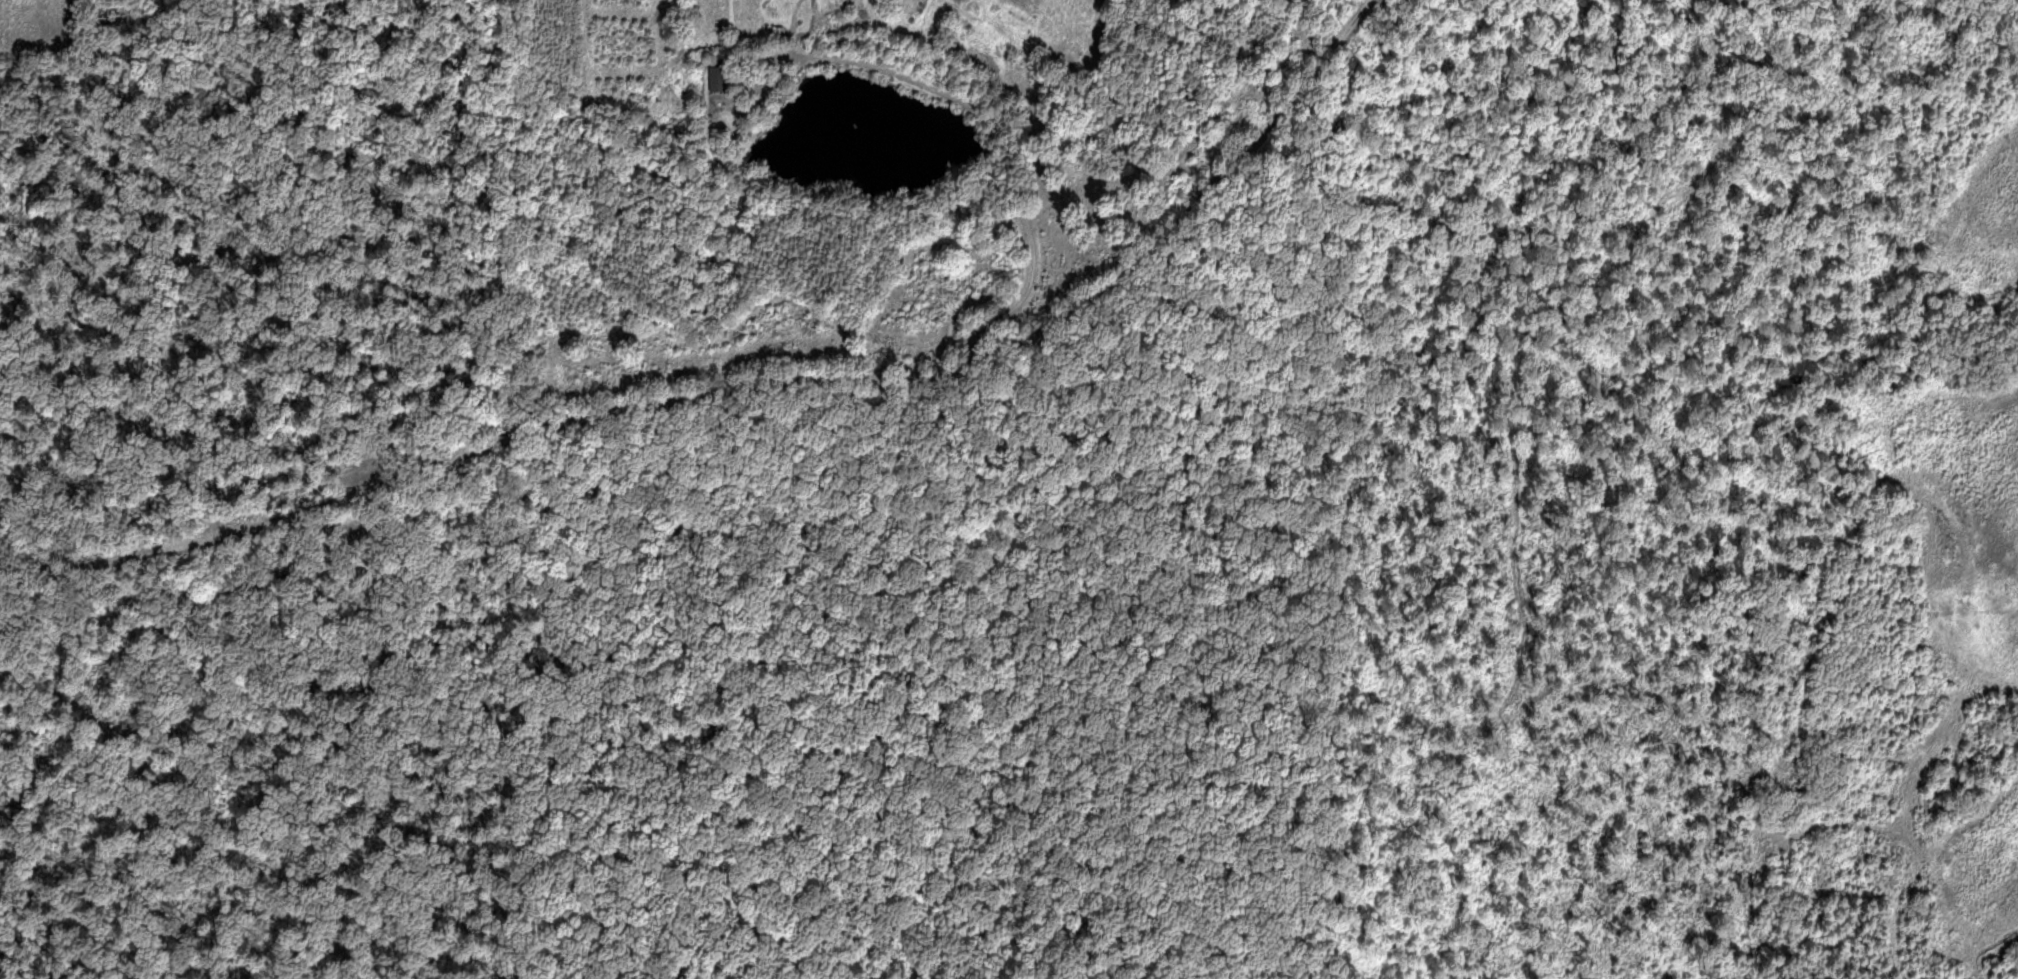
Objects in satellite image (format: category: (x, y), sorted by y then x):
road: (747, 380)

